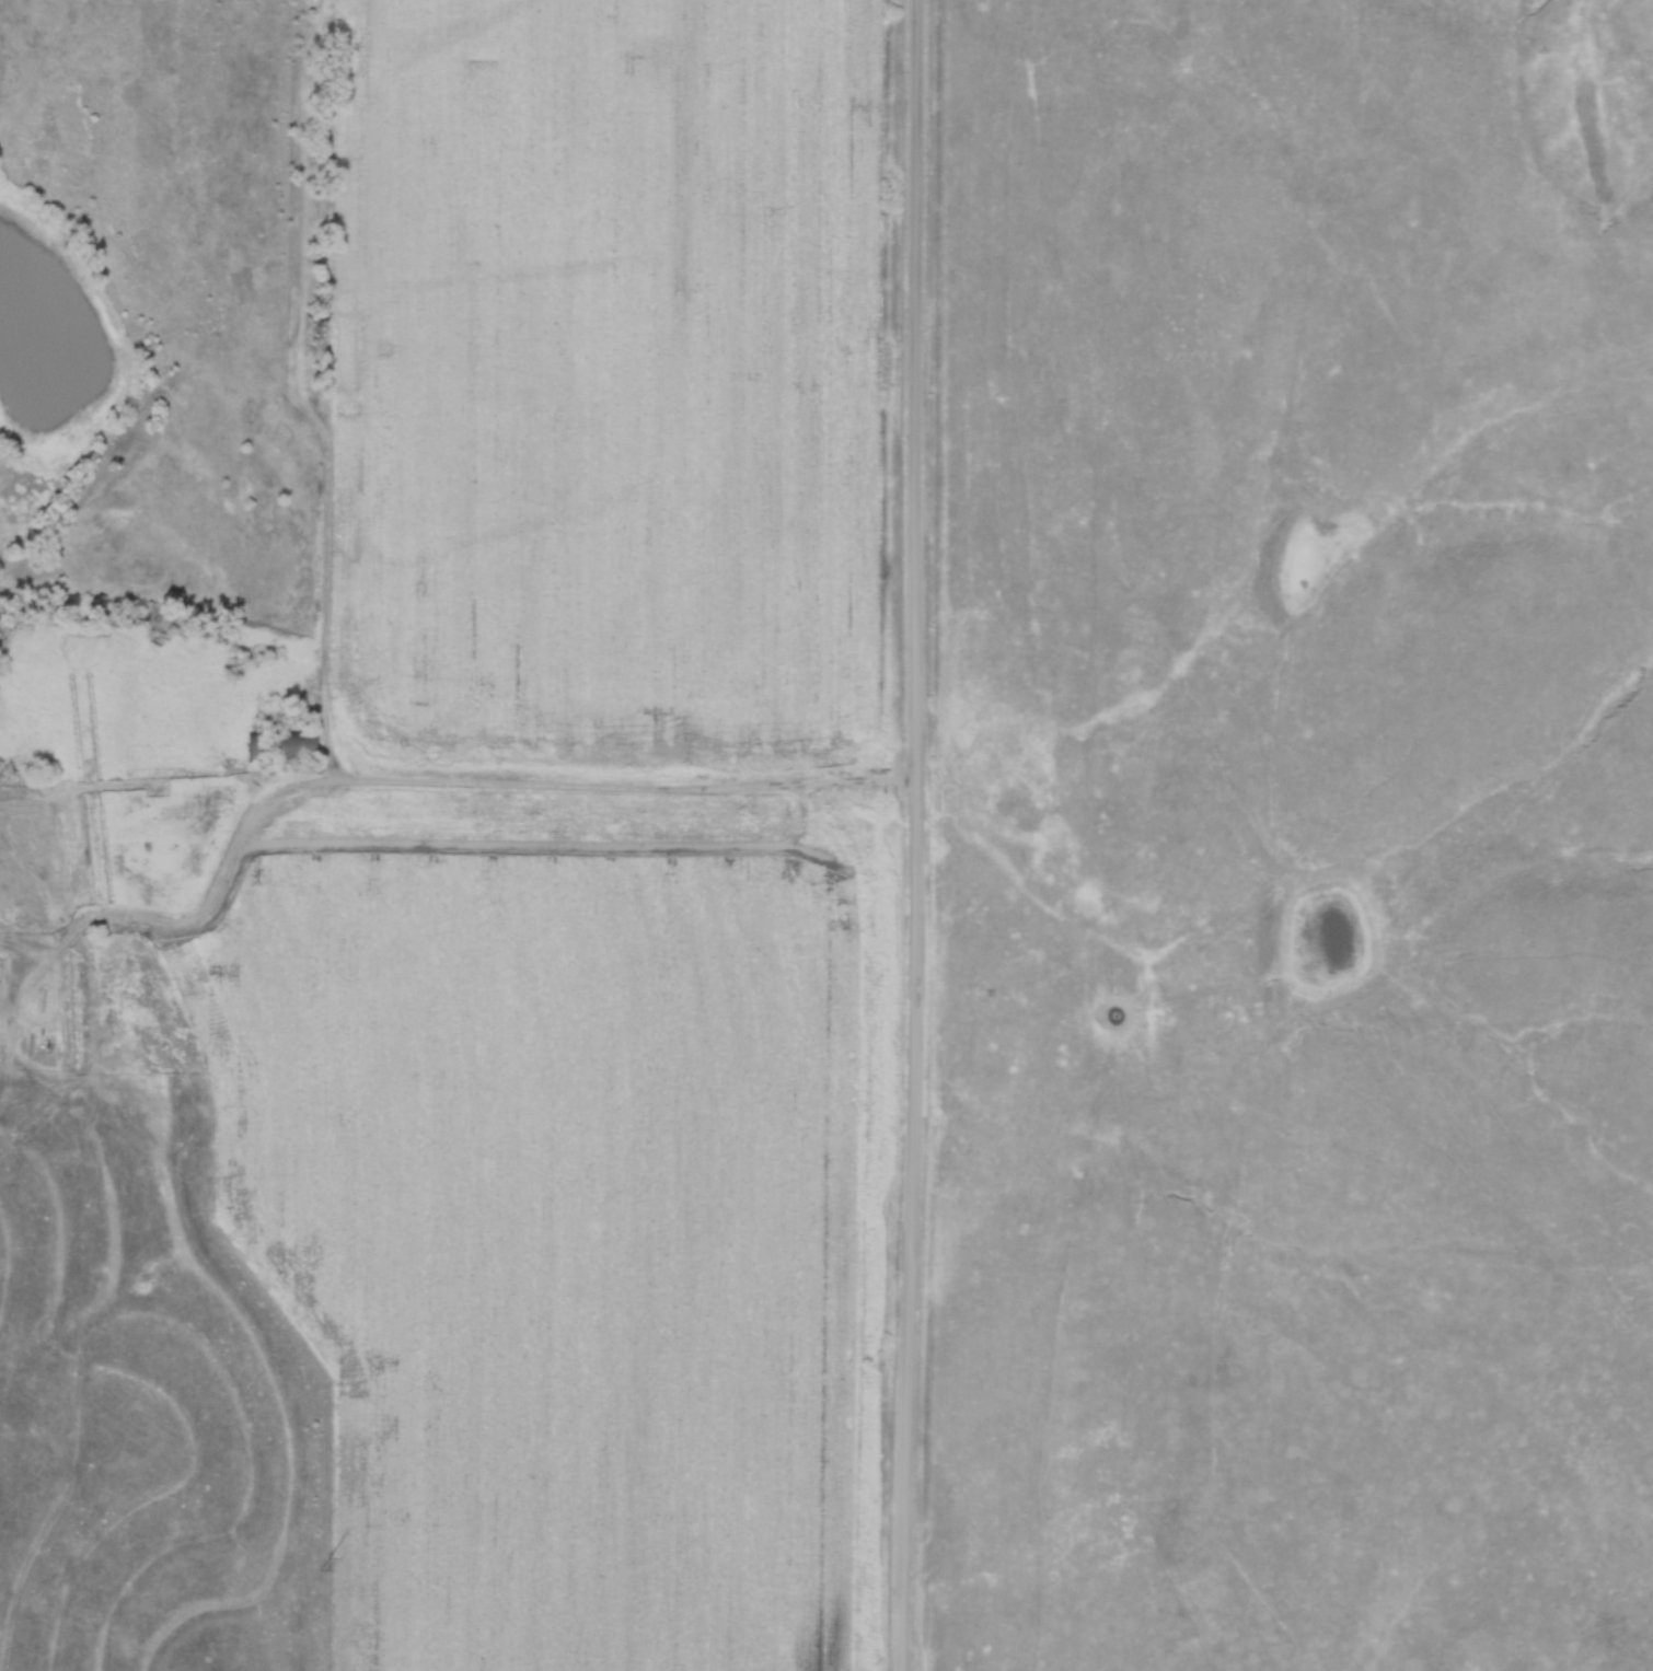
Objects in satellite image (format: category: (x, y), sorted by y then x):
crop: (603, 382)
building: (277, 747)
road: (417, 781)
road: (914, 835)
crop: (556, 1215)
power tower: (322, 1564)

